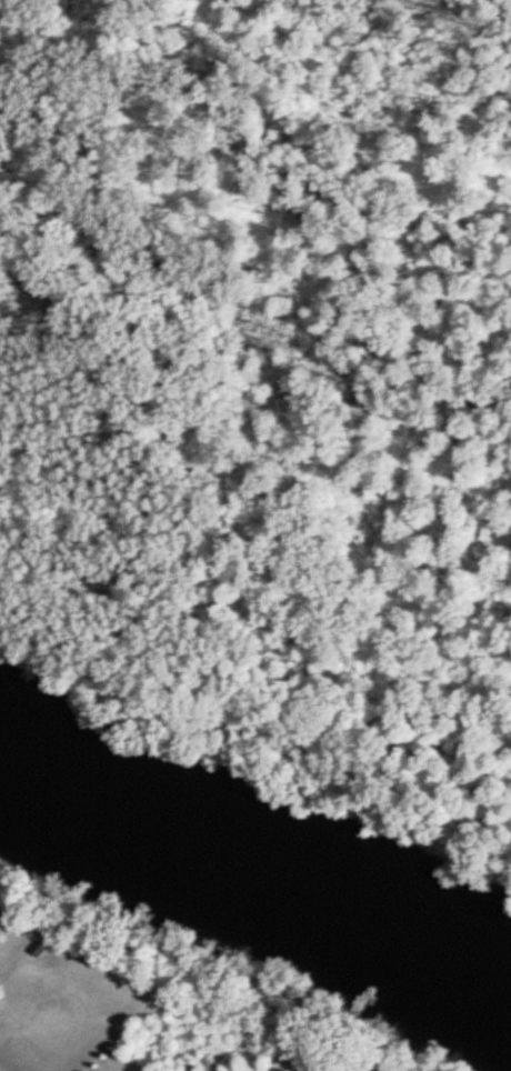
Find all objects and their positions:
river: (254, 874)

